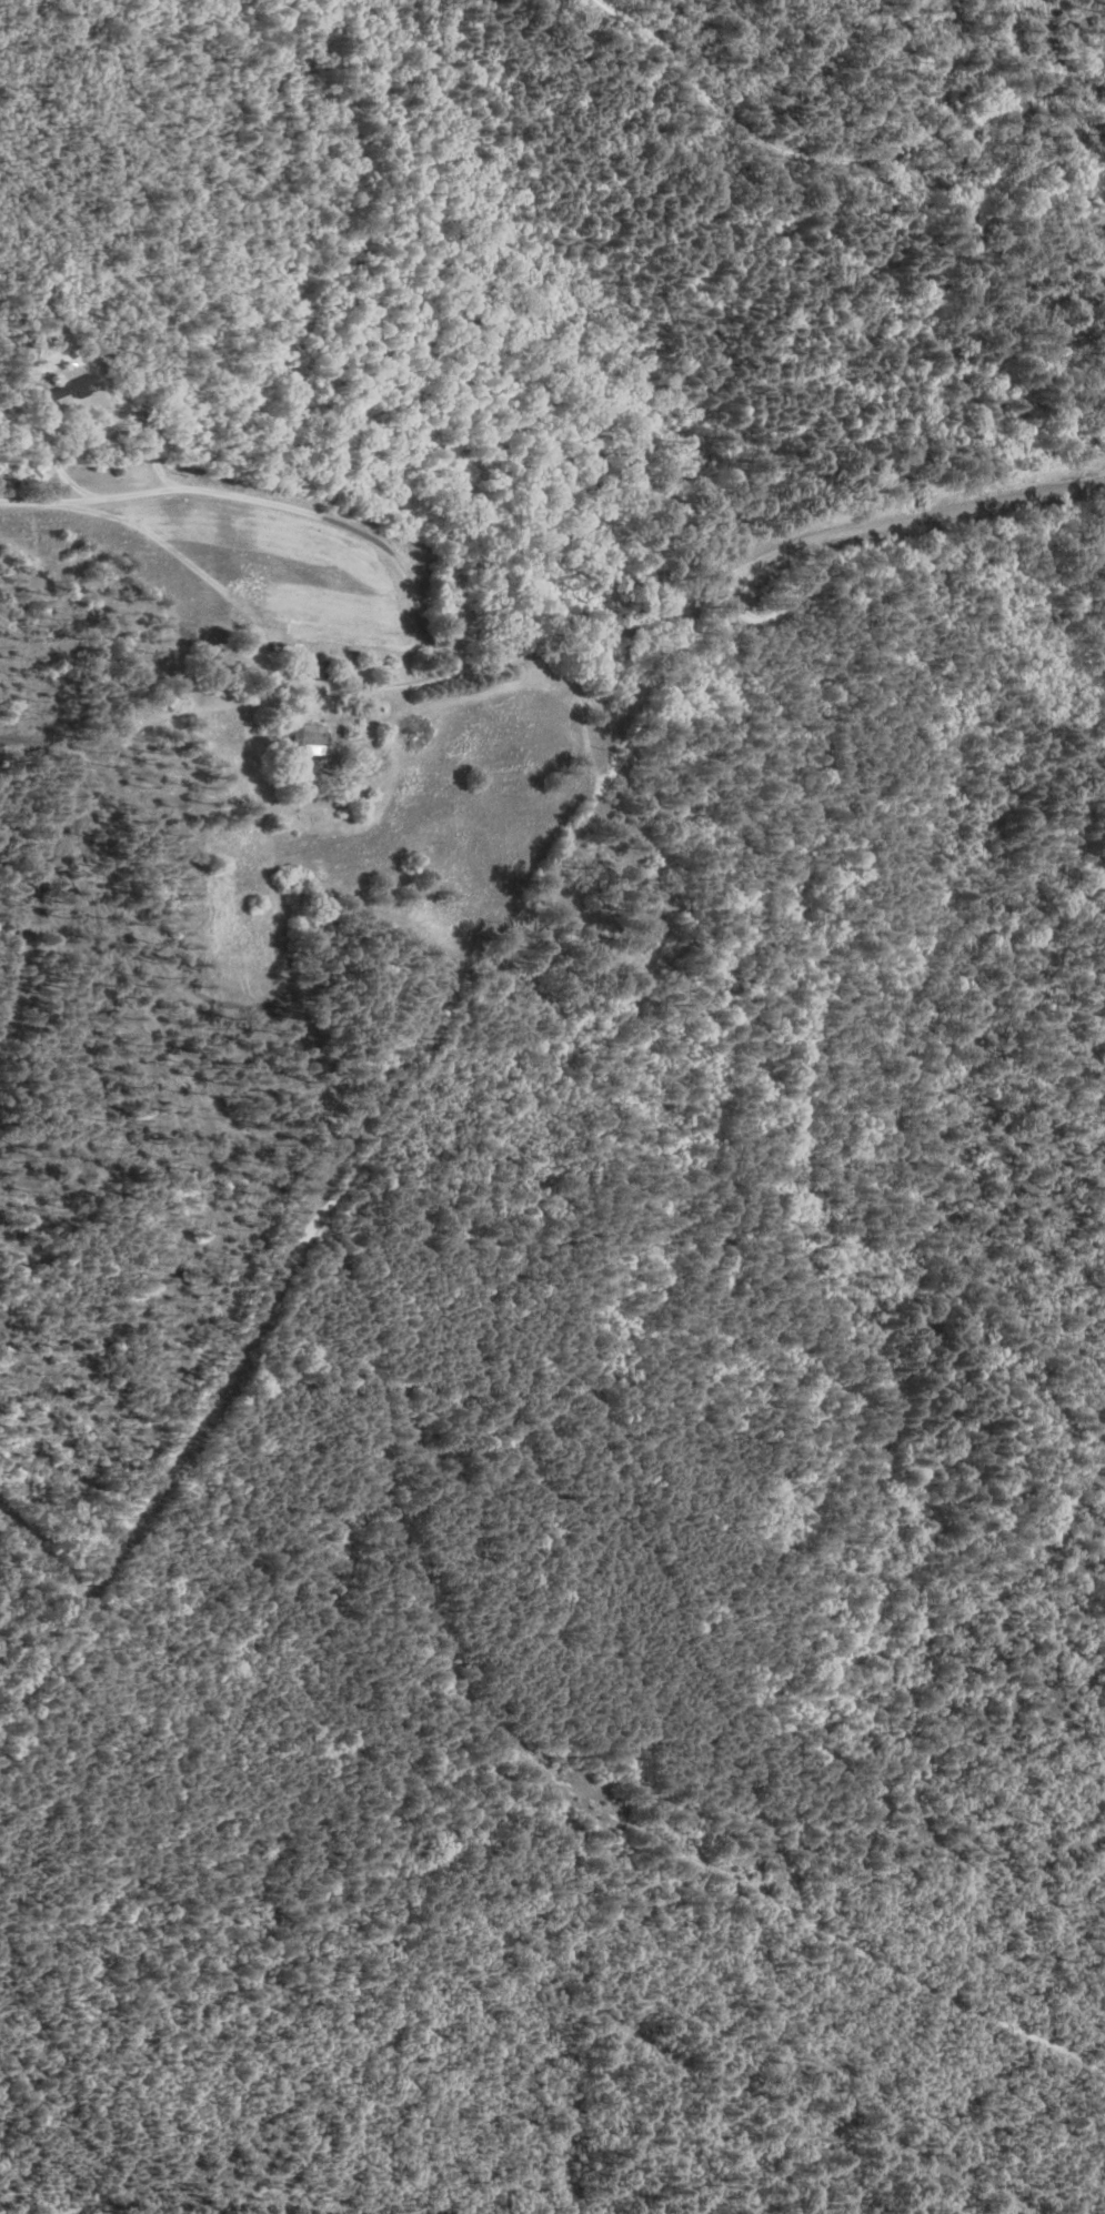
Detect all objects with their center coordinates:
building: (73, 386)
building: (308, 738)
road: (635, 738)

